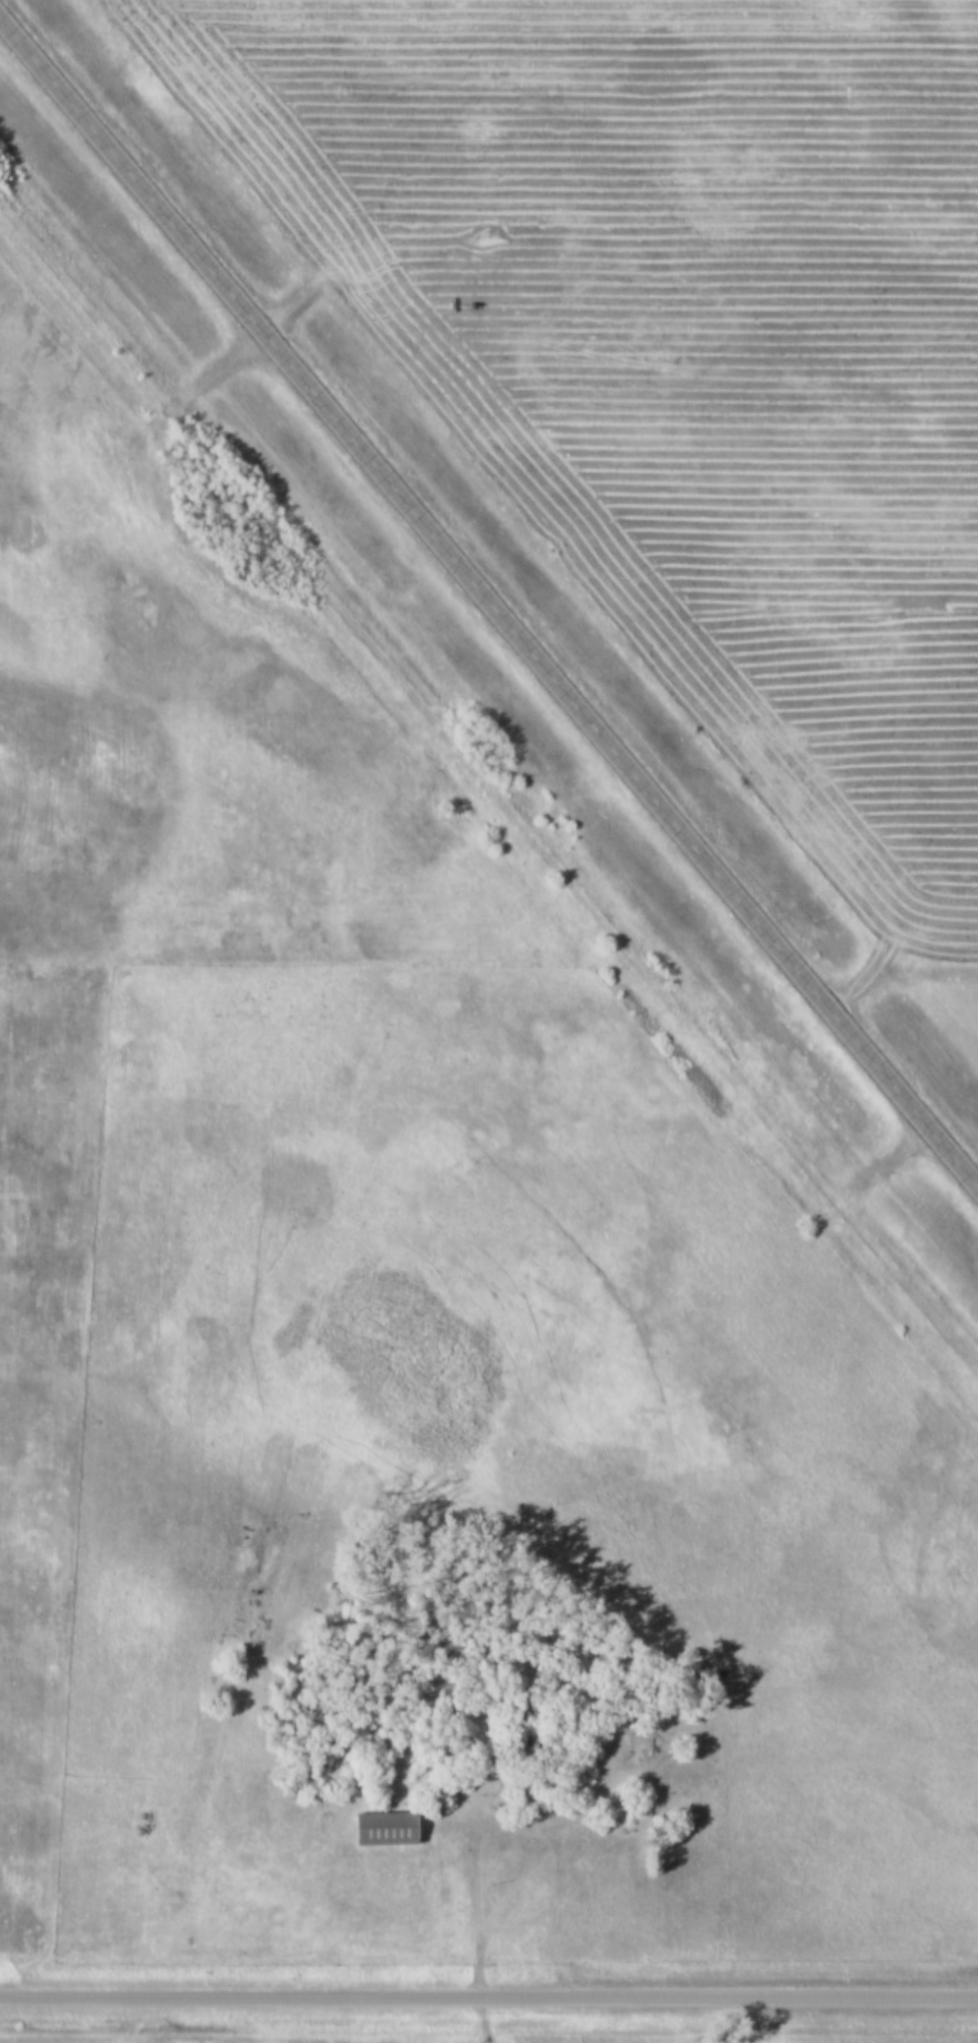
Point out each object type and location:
road: (195, 388)
road: (489, 596)
road: (898, 963)
building: (385, 1829)
road: (477, 1895)
road: (489, 1994)

